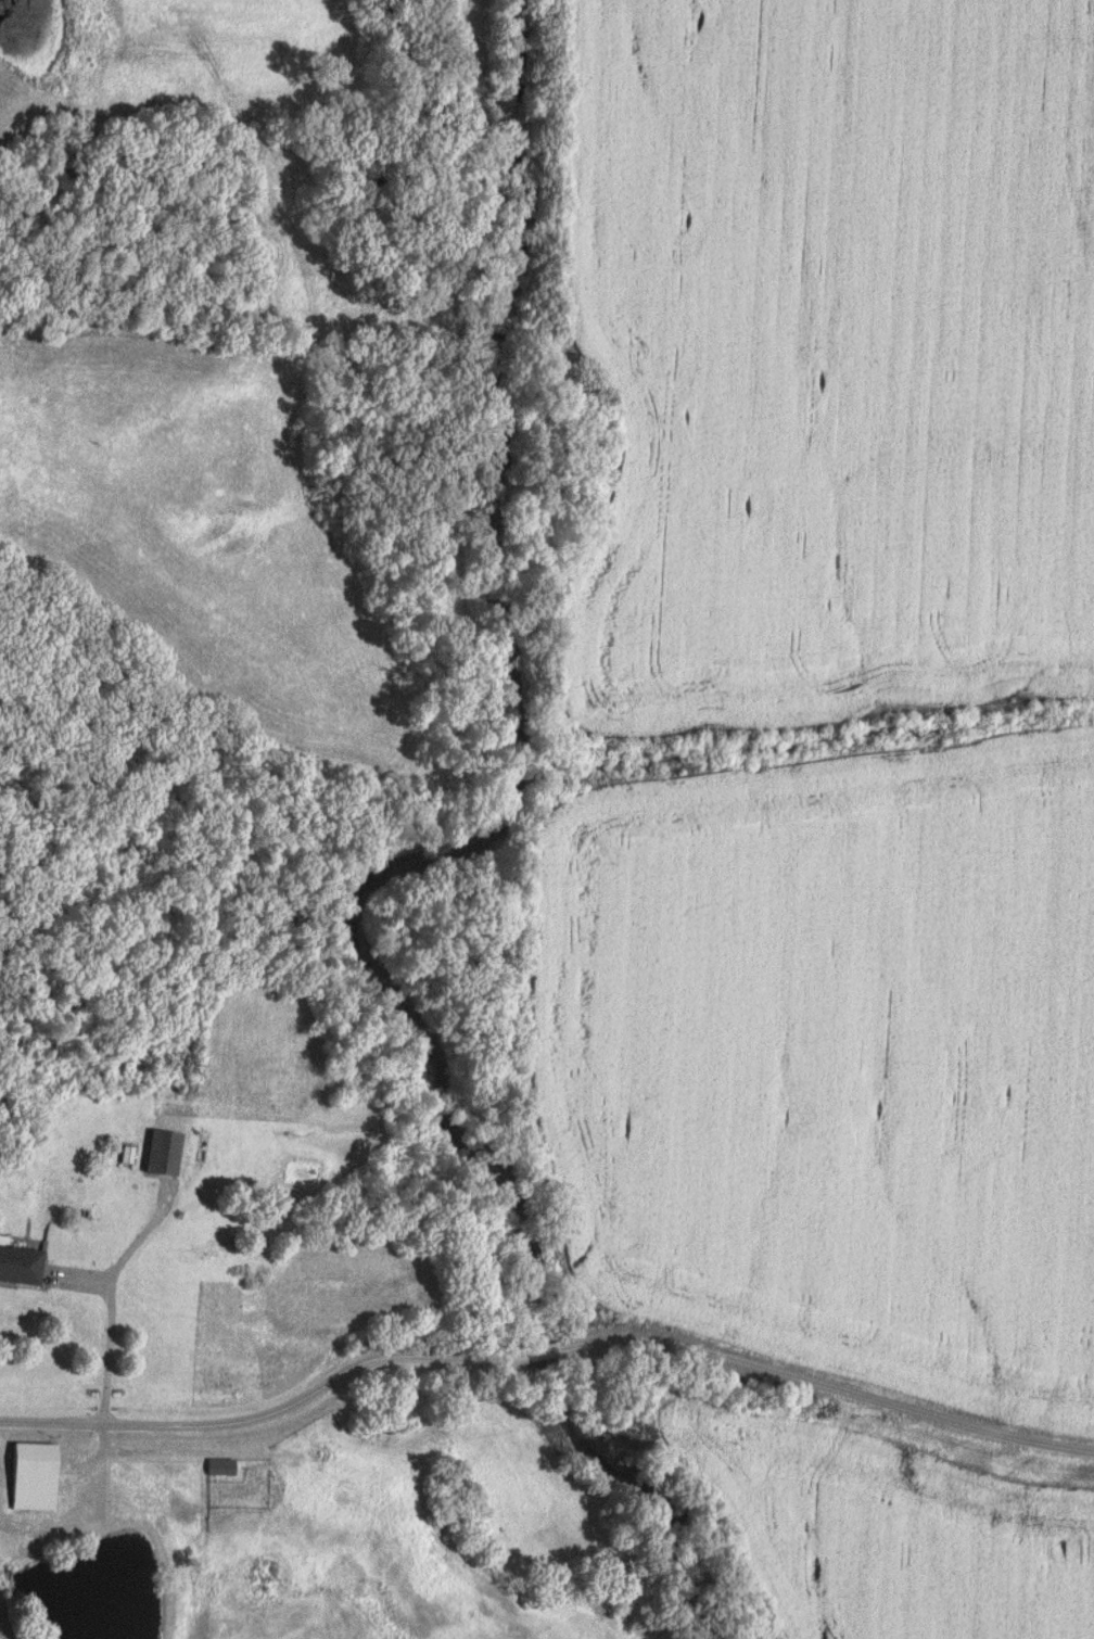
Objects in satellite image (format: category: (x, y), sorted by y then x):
building: (166, 1154)
building: (20, 1266)
road: (113, 1298)
road: (547, 1354)
building: (218, 1468)
building: (30, 1477)

